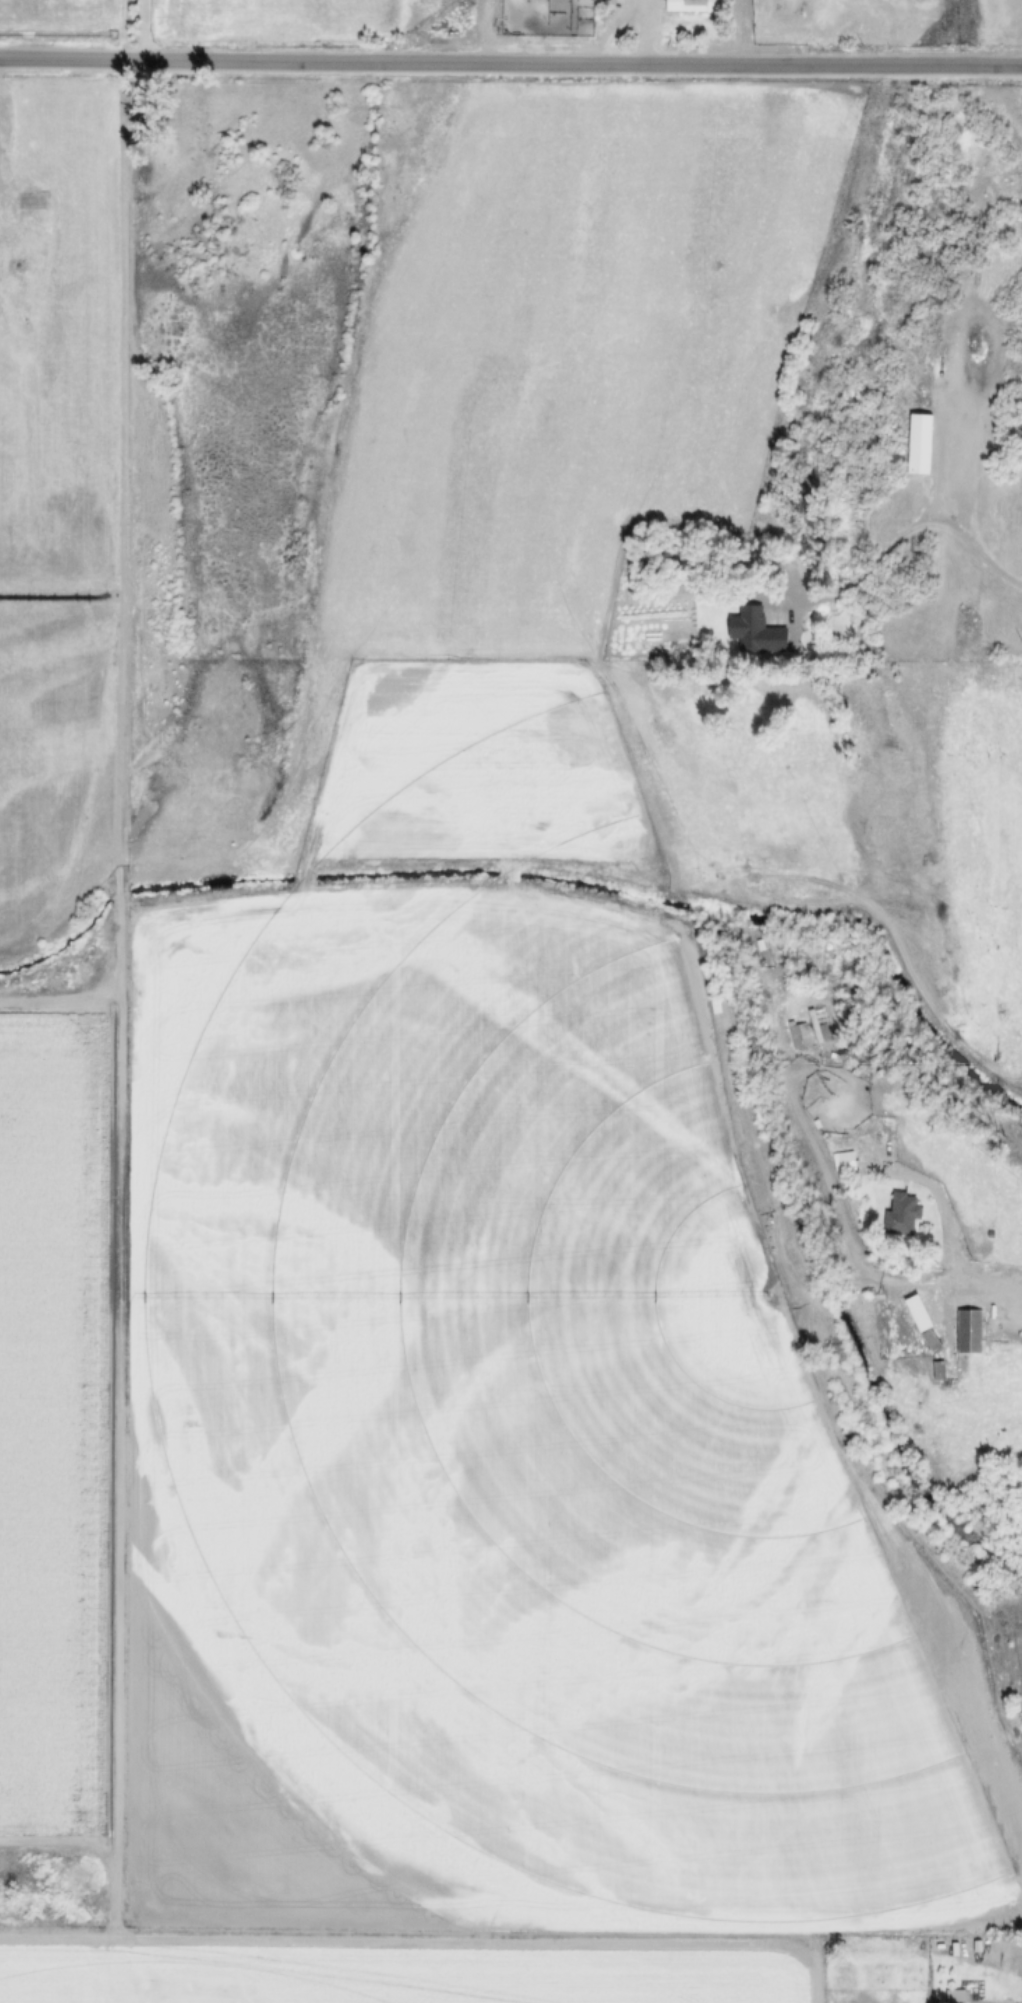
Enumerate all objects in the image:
building: (692, 5)
building: (523, 14)
road: (146, 31)
road: (643, 33)
road: (510, 65)
road: (1, 73)
road: (10, 151)
building: (919, 444)
road: (926, 523)
building: (756, 630)
building: (271, 835)
building: (819, 1024)
building: (800, 1035)
building: (847, 1160)
building: (902, 1212)
road: (948, 1233)
building: (969, 1347)
building: (938, 1369)
building: (441, 1706)
building: (955, 2001)

